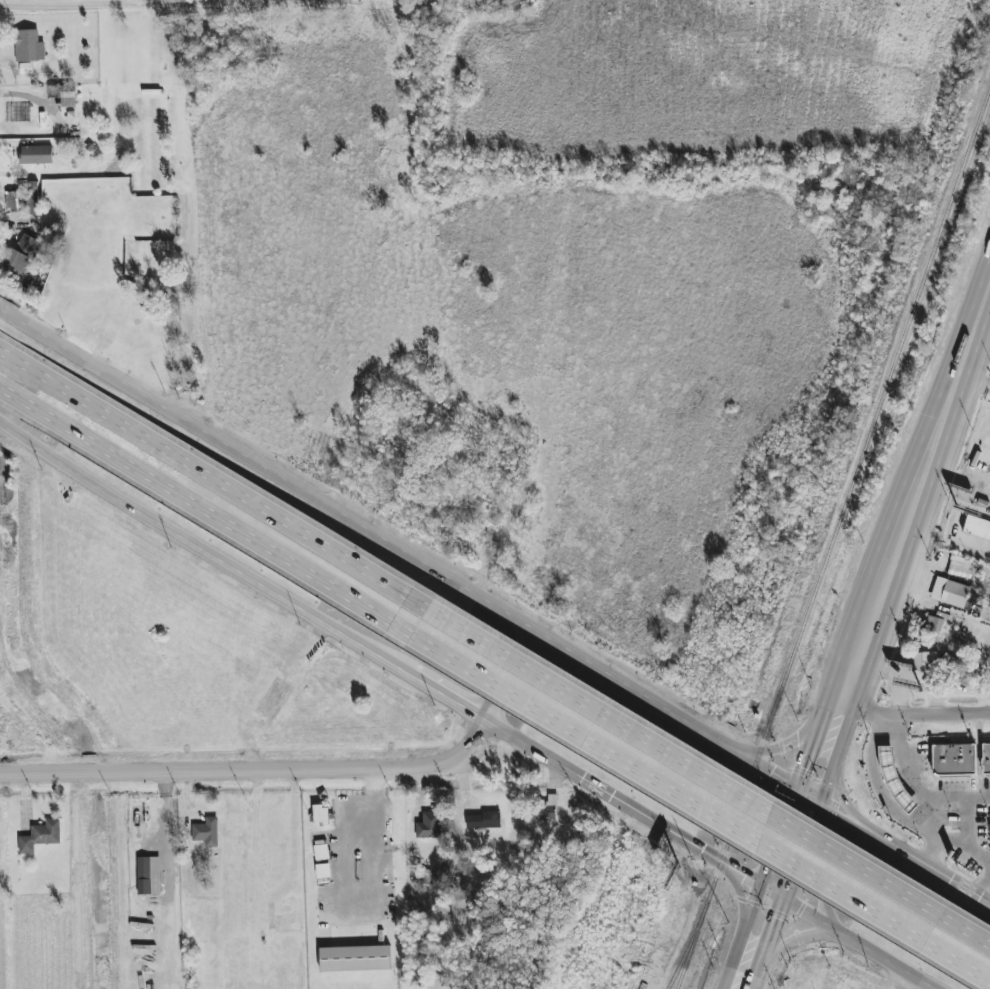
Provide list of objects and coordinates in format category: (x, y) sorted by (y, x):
road: (189, 16)
building: (29, 46)
building: (53, 92)
building: (68, 99)
building: (36, 155)
building: (33, 198)
building: (14, 200)
building: (22, 255)
road: (30, 325)
road: (978, 329)
road: (118, 423)
road: (19, 431)
road: (110, 455)
road: (296, 489)
building: (977, 528)
road: (886, 535)
railway: (833, 539)
road: (222, 563)
building: (961, 567)
building: (955, 594)
road: (889, 631)
building: (934, 632)
road: (569, 656)
building: (925, 661)
road: (508, 678)
road: (447, 699)
road: (927, 710)
road: (608, 728)
road: (701, 733)
road: (774, 748)
road: (808, 754)
road: (603, 756)
building: (986, 759)
building: (954, 760)
road: (254, 771)
road: (914, 786)
traffic signals: (797, 788)
road: (881, 788)
building: (546, 810)
traffic signals: (832, 810)
building: (321, 815)
road: (641, 815)
building: (484, 821)
building: (430, 825)
building: (206, 832)
road: (385, 833)
road: (938, 833)
road: (780, 836)
building: (41, 837)
road: (893, 846)
road: (965, 850)
building: (149, 876)
road: (11, 881)
traffic signals: (763, 885)
road: (987, 894)
traffic signals: (800, 906)
road: (746, 937)
road: (807, 941)
road: (787, 944)
railway: (688, 946)
road: (867, 947)
building: (355, 959)
road: (773, 986)

